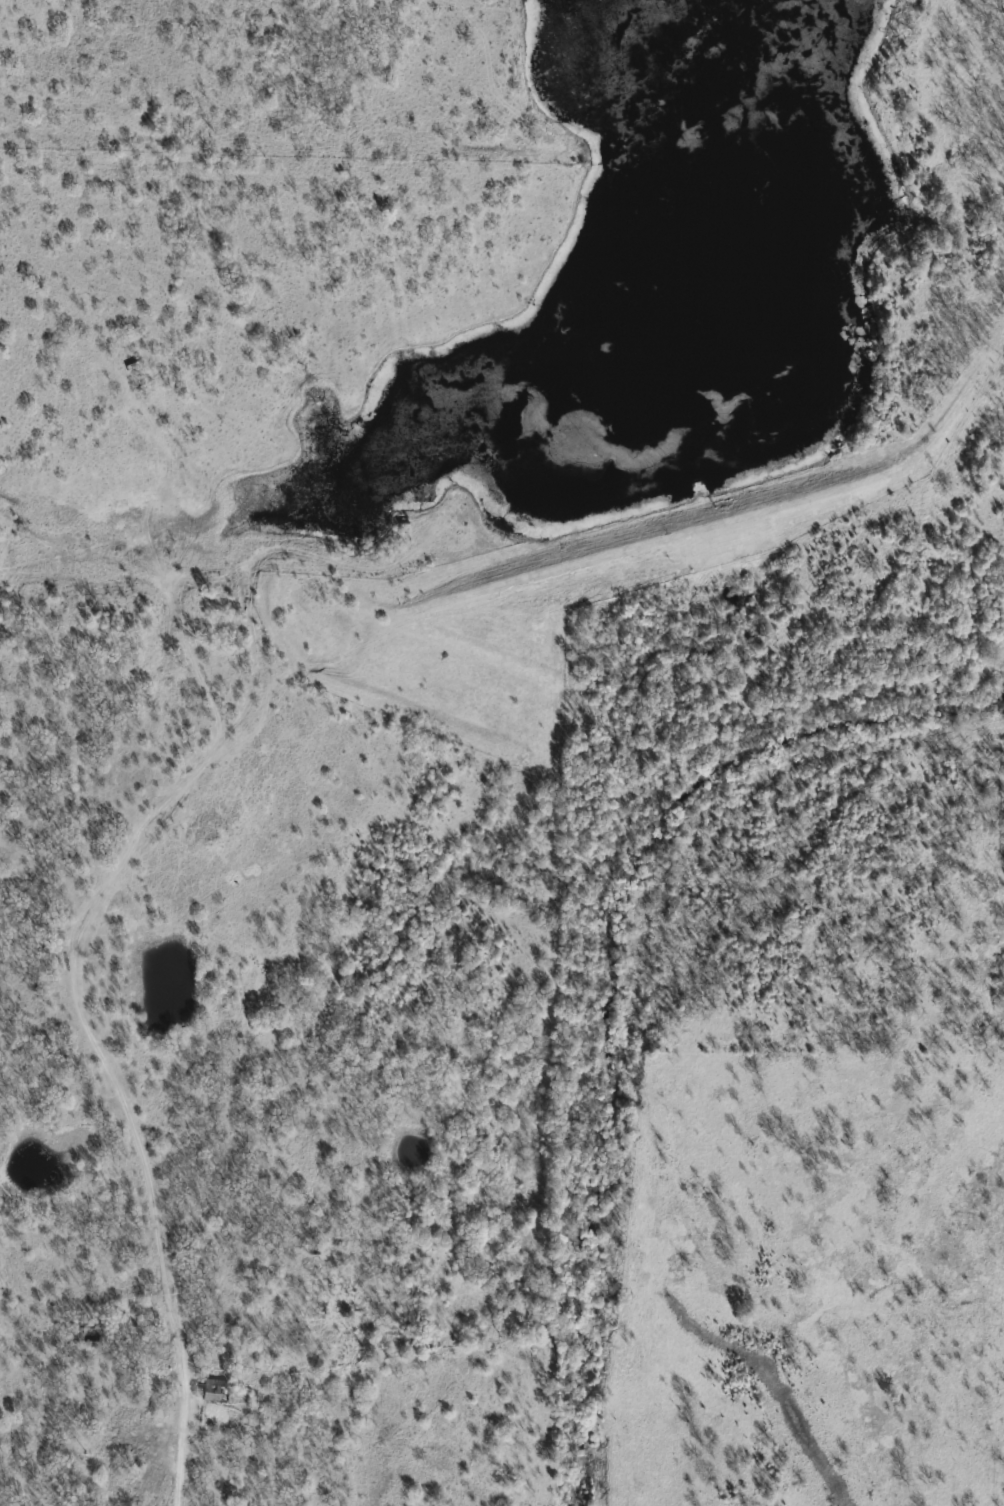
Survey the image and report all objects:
building: (90, 1334)
road: (181, 1451)

